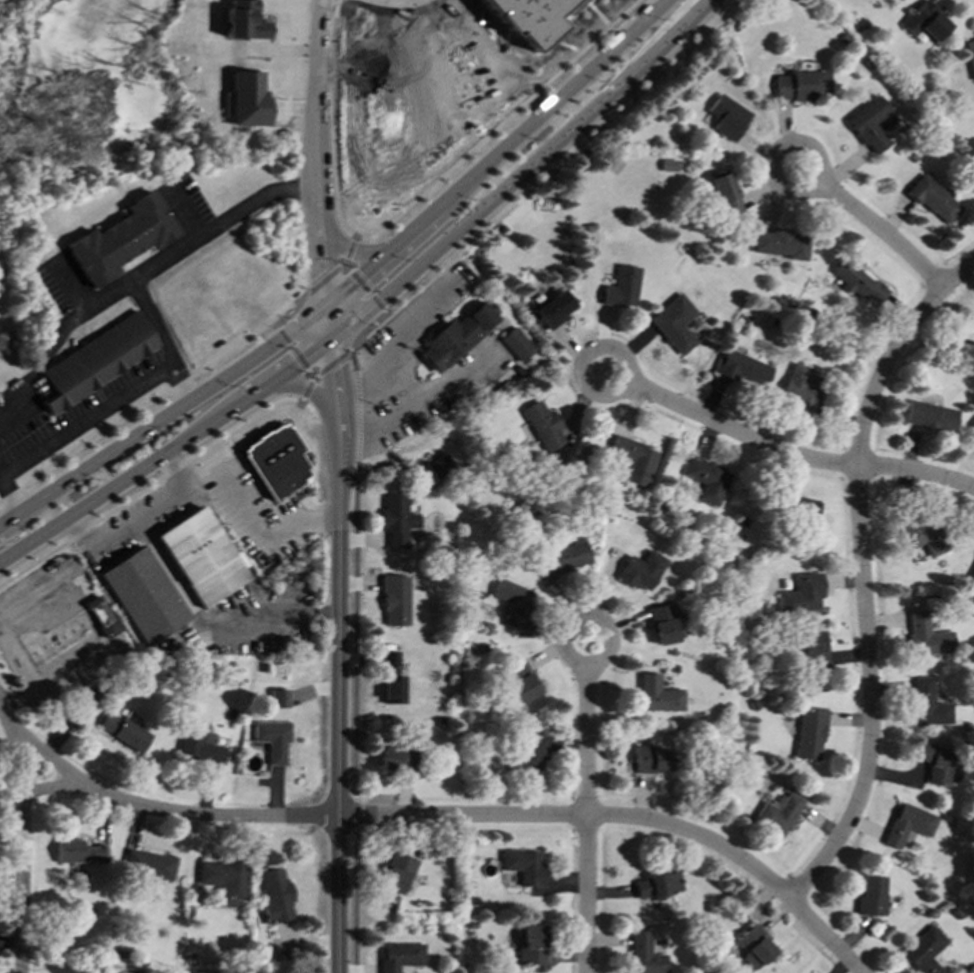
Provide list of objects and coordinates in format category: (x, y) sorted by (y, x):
road: (336, 2)
building: (535, 19)
building: (244, 21)
building: (926, 22)
building: (971, 56)
road: (334, 64)
building: (802, 86)
building: (249, 100)
road: (320, 109)
building: (729, 118)
road: (499, 123)
building: (870, 125)
road: (789, 147)
road: (498, 154)
building: (668, 166)
road: (523, 169)
road: (544, 178)
road: (336, 183)
building: (726, 195)
building: (933, 199)
road: (258, 202)
road: (884, 233)
building: (121, 240)
building: (782, 243)
road: (348, 245)
road: (350, 247)
road: (325, 261)
road: (345, 264)
road: (347, 267)
road: (133, 281)
road: (324, 281)
building: (860, 283)
building: (623, 288)
road: (368, 293)
traffic signals: (330, 304)
building: (554, 310)
road: (331, 318)
building: (972, 321)
building: (675, 324)
traffic signals: (333, 333)
road: (394, 337)
building: (455, 337)
road: (66, 343)
building: (518, 345)
road: (293, 349)
road: (591, 353)
building: (97, 360)
road: (352, 361)
road: (332, 365)
building: (743, 368)
road: (336, 374)
road: (300, 383)
road: (307, 387)
building: (800, 390)
road: (155, 400)
road: (420, 401)
road: (358, 416)
road: (167, 417)
building: (931, 417)
road: (90, 419)
building: (544, 426)
building: (972, 433)
road: (740, 434)
road: (169, 452)
building: (635, 460)
building: (276, 461)
building: (432, 472)
road: (917, 472)
building: (708, 480)
road: (151, 486)
road: (11, 489)
building: (802, 509)
building: (397, 520)
road: (137, 523)
road: (263, 535)
building: (923, 536)
building: (202, 556)
building: (563, 557)
building: (643, 571)
road: (864, 574)
building: (972, 575)
building: (804, 594)
building: (143, 595)
building: (396, 601)
building: (514, 602)
road: (598, 619)
building: (665, 623)
road: (356, 631)
building: (69, 632)
building: (927, 637)
building: (813, 650)
building: (392, 679)
building: (521, 682)
road: (339, 694)
building: (659, 695)
building: (279, 699)
building: (929, 705)
building: (124, 730)
building: (811, 734)
building: (274, 740)
road: (588, 741)
building: (200, 743)
building: (528, 754)
building: (396, 760)
building: (654, 760)
road: (356, 814)
building: (780, 814)
road: (441, 816)
building: (910, 825)
road: (22, 844)
building: (78, 852)
building: (149, 865)
building: (526, 867)
building: (398, 873)
building: (224, 881)
building: (659, 886)
road: (589, 894)
building: (873, 896)
building: (277, 897)
road: (356, 900)
building: (534, 946)
building: (757, 947)
building: (926, 951)
building: (646, 955)
building: (402, 957)

